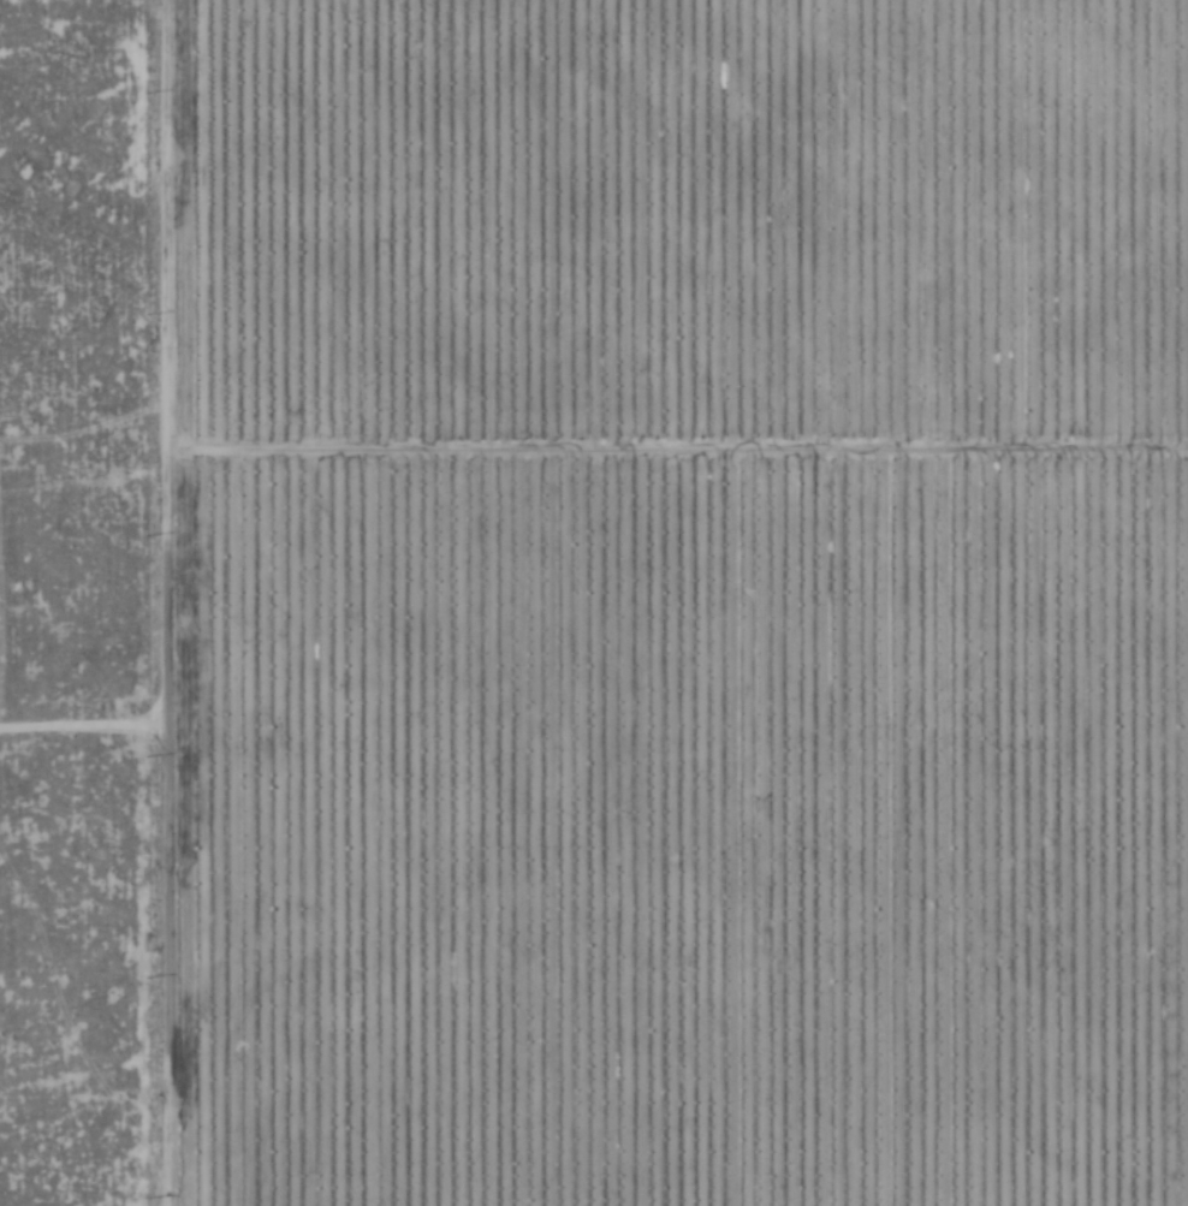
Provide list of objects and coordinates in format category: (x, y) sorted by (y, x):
road: (154, 602)

